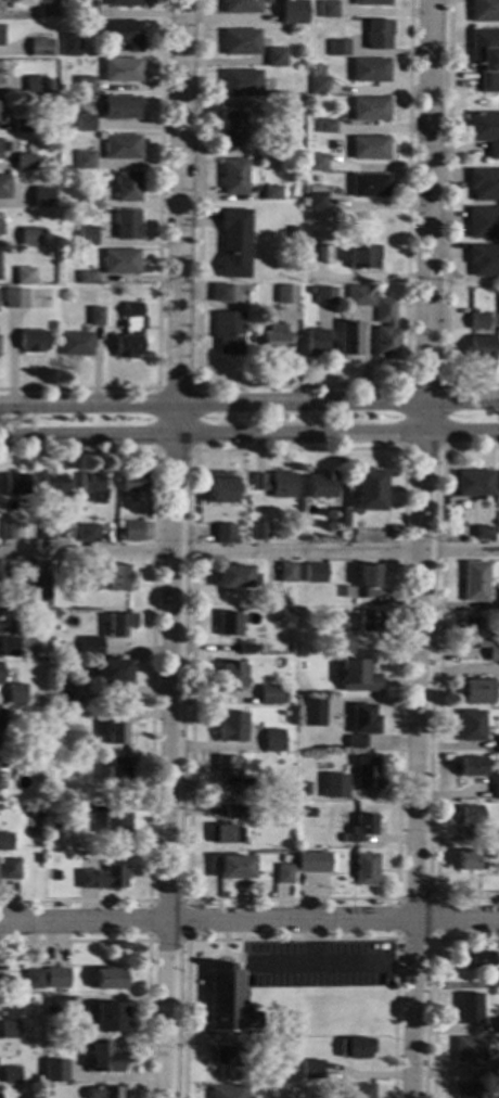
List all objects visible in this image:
building: (371, 2)
building: (124, 3)
building: (241, 7)
building: (47, 9)
building: (86, 9)
building: (1, 10)
building: (328, 10)
building: (484, 10)
building: (292, 12)
building: (124, 34)
building: (376, 35)
building: (241, 42)
building: (71, 46)
building: (338, 47)
building: (40, 48)
building: (276, 58)
building: (485, 58)
building: (121, 71)
building: (370, 71)
building: (1, 81)
building: (243, 82)
building: (34, 86)
building: (85, 86)
building: (317, 86)
building: (276, 100)
building: (120, 108)
building: (369, 110)
building: (0, 119)
building: (85, 124)
building: (22, 126)
building: (325, 126)
building: (233, 129)
building: (485, 131)
building: (281, 145)
building: (121, 148)
building: (369, 148)
building: (0, 158)
building: (85, 161)
building: (24, 163)
building: (316, 163)
building: (234, 177)
building: (484, 184)
building: (4, 187)
building: (128, 187)
building: (368, 187)
building: (271, 193)
building: (316, 197)
building: (36, 201)
building: (90, 201)
road: (445, 219)
building: (483, 222)
building: (127, 226)
building: (28, 237)
building: (87, 237)
building: (234, 244)
building: (318, 254)
building: (362, 257)
building: (483, 260)
building: (120, 261)
road: (157, 271)
building: (24, 276)
building: (87, 279)
building: (220, 293)
building: (283, 293)
building: (323, 296)
building: (360, 296)
building: (14, 299)
building: (95, 316)
building: (477, 321)
building: (385, 330)
building: (130, 332)
building: (229, 333)
building: (274, 340)
building: (33, 341)
building: (349, 341)
building: (76, 344)
building: (316, 344)
building: (481, 348)
road: (298, 387)
road: (248, 405)
road: (250, 433)
road: (402, 448)
road: (404, 448)
road: (155, 449)
building: (53, 482)
building: (16, 483)
building: (133, 483)
building: (276, 484)
building: (474, 484)
building: (498, 485)
building: (321, 486)
building: (93, 487)
building: (222, 488)
building: (369, 490)
building: (340, 519)
building: (259, 531)
building: (8, 532)
building: (46, 532)
building: (132, 532)
building: (483, 533)
building: (88, 534)
building: (225, 534)
road: (177, 549)
road: (423, 549)
road: (250, 550)
building: (287, 572)
building: (316, 574)
building: (118, 577)
building: (236, 578)
building: (89, 580)
building: (368, 580)
building: (475, 582)
building: (39, 590)
building: (347, 592)
building: (498, 598)
building: (282, 614)
building: (42, 616)
building: (2, 620)
building: (370, 621)
building: (120, 624)
building: (229, 625)
building: (473, 633)
building: (338, 643)
building: (90, 647)
building: (9, 648)
building: (246, 649)
building: (494, 654)
road: (151, 672)
building: (112, 674)
building: (358, 676)
building: (230, 677)
road: (438, 677)
building: (477, 692)
building: (62, 693)
building: (16, 694)
building: (270, 695)
building: (42, 701)
building: (314, 713)
building: (55, 714)
building: (363, 725)
building: (473, 726)
building: (232, 727)
building: (114, 728)
building: (273, 741)
building: (287, 744)
building: (498, 745)
building: (42, 763)
building: (227, 765)
building: (473, 767)
building: (118, 773)
building: (367, 777)
building: (335, 786)
building: (248, 788)
building: (305, 788)
building: (496, 789)
building: (41, 807)
building: (81, 813)
building: (235, 813)
building: (308, 813)
building: (470, 817)
building: (116, 823)
building: (360, 829)
building: (226, 834)
building: (5, 842)
building: (38, 859)
building: (285, 859)
building: (471, 860)
building: (315, 861)
building: (234, 868)
building: (9, 869)
building: (366, 869)
building: (284, 874)
building: (307, 877)
building: (102, 878)
road: (248, 920)
road: (396, 939)
road: (292, 940)
road: (148, 941)
road: (312, 942)
road: (146, 945)
road: (223, 947)
road: (217, 955)
building: (475, 959)
road: (331, 963)
building: (1, 965)
building: (56, 979)
building: (111, 979)
building: (34, 980)
road: (435, 986)
building: (228, 1001)
building: (55, 1005)
building: (470, 1009)
building: (111, 1018)
building: (498, 1024)
building: (10, 1030)
building: (267, 1043)
building: (356, 1049)
building: (466, 1052)
building: (229, 1056)
building: (271, 1056)
building: (104, 1058)
building: (311, 1070)
building: (497, 1072)
building: (61, 1074)
building: (11, 1075)
building: (465, 1090)
building: (104, 1091)
building: (228, 1091)
building: (361, 1091)

